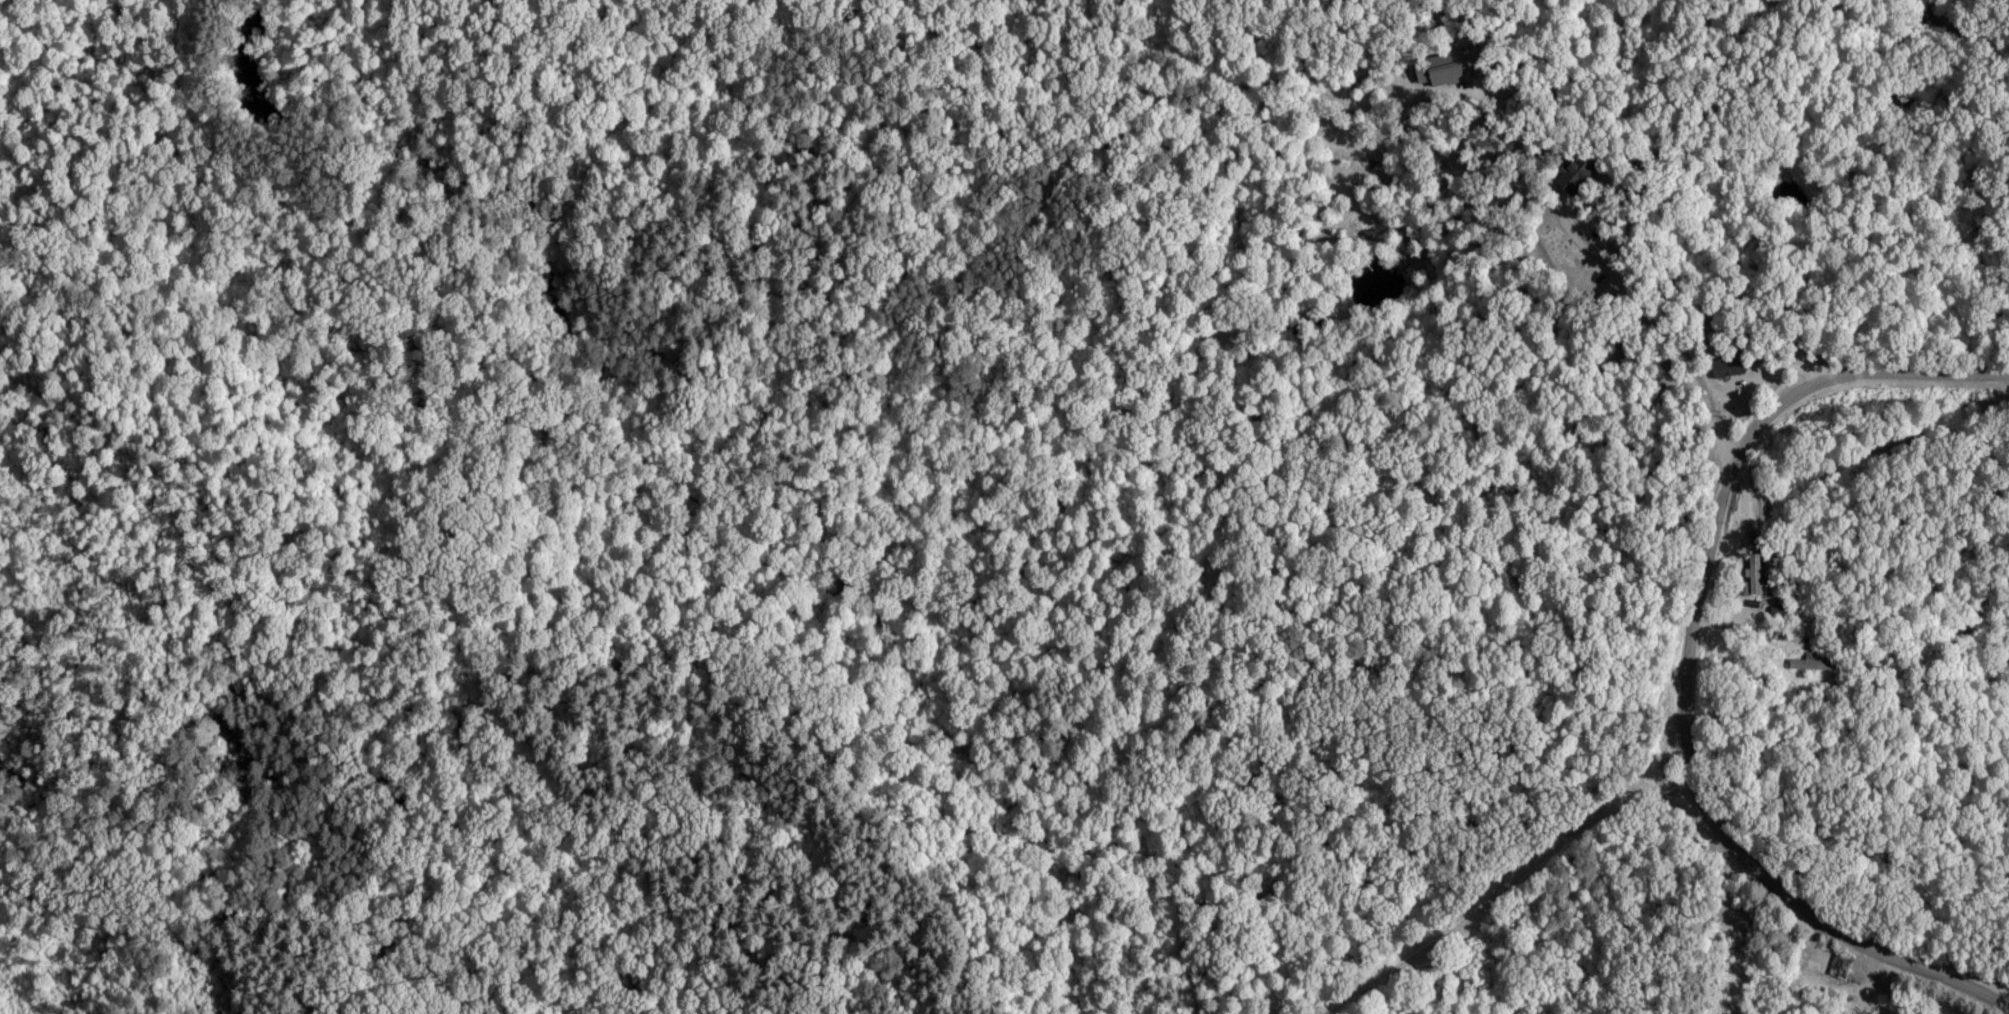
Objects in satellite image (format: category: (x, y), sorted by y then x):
building: (1578, 168)
road: (1661, 328)
building: (1730, 365)
road: (1946, 368)
road: (1716, 540)
building: (1754, 573)
road: (1740, 609)
building: (1812, 663)
road: (1523, 871)
road: (1856, 942)
building: (1840, 965)

